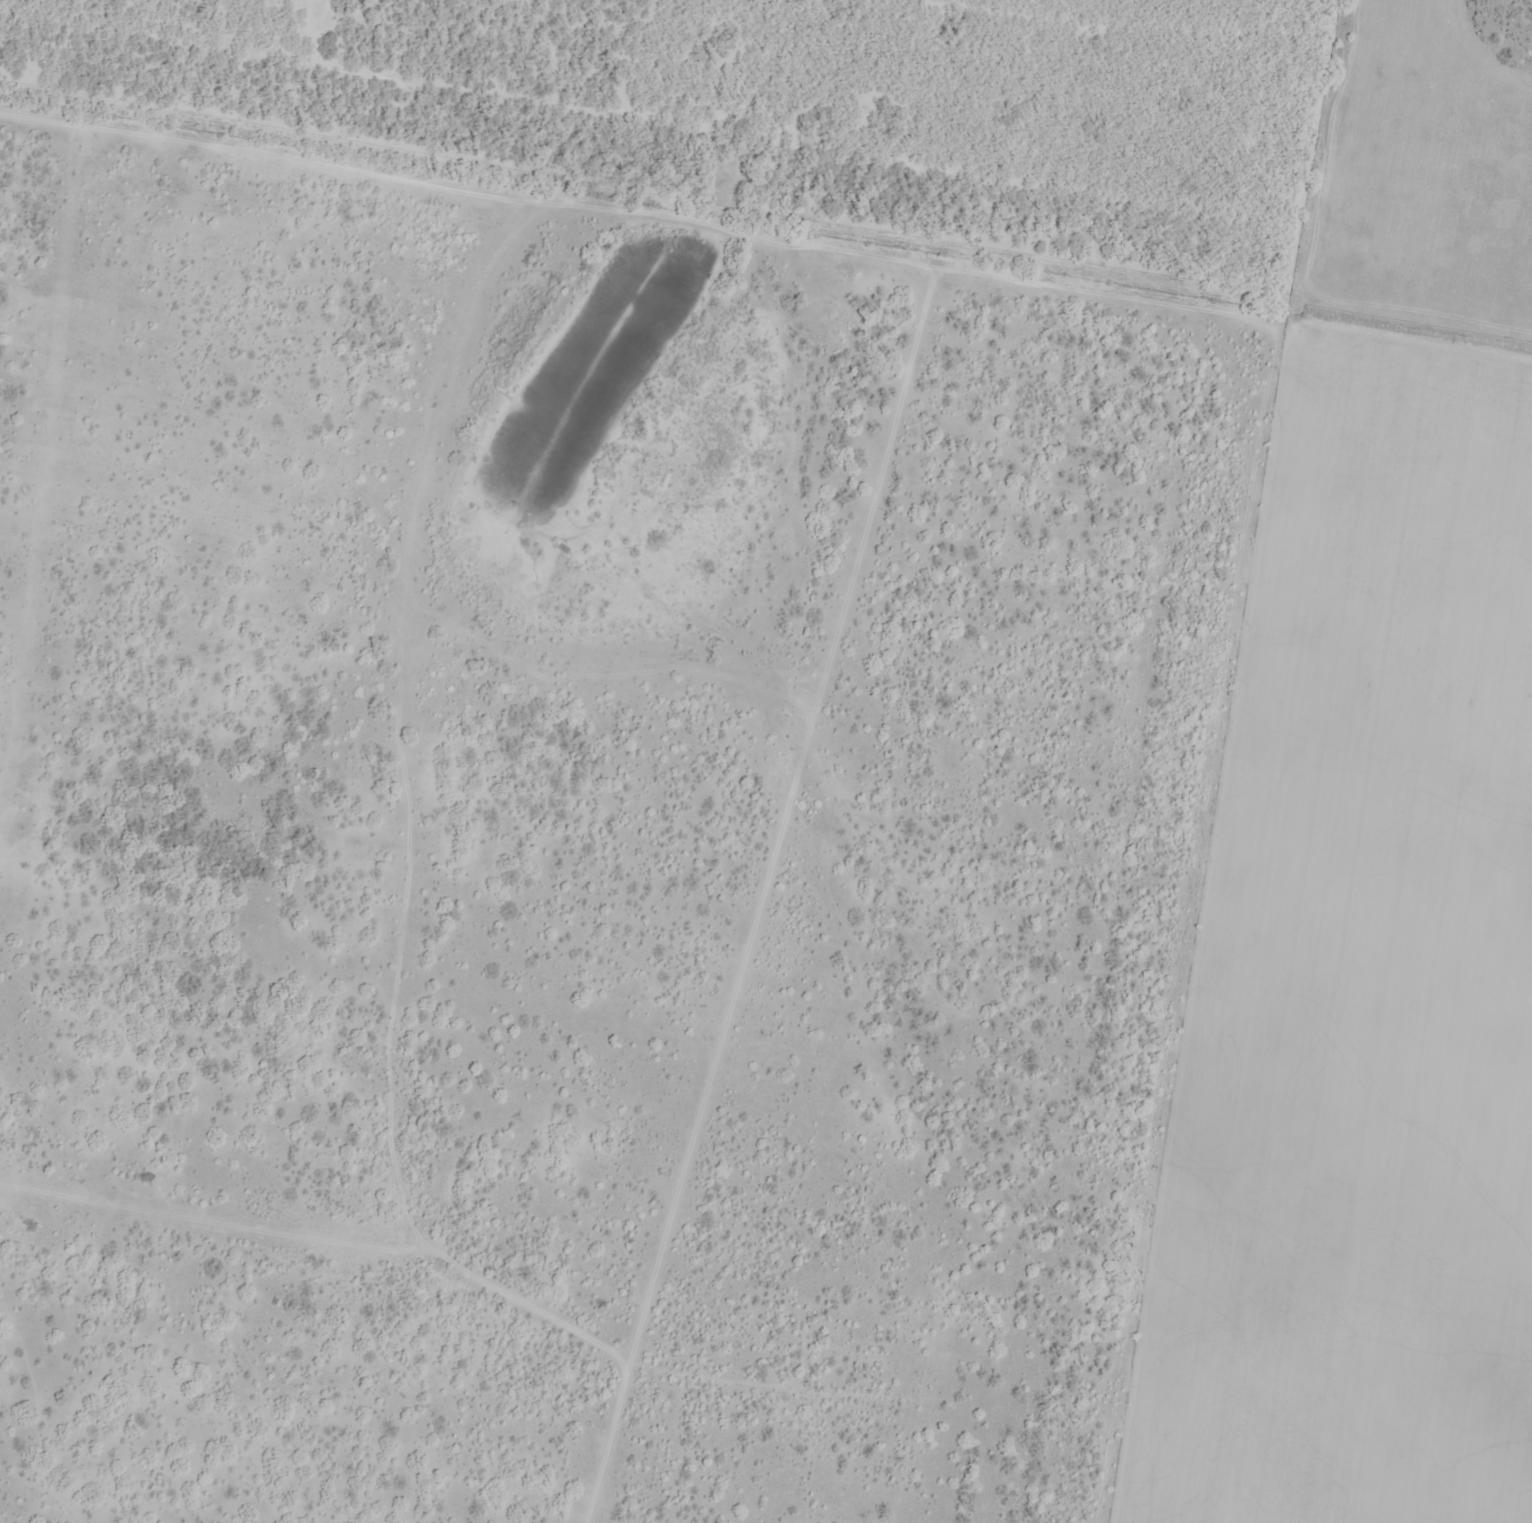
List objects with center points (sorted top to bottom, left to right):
road: (1250, 22)
road: (1258, 46)
road: (766, 213)

